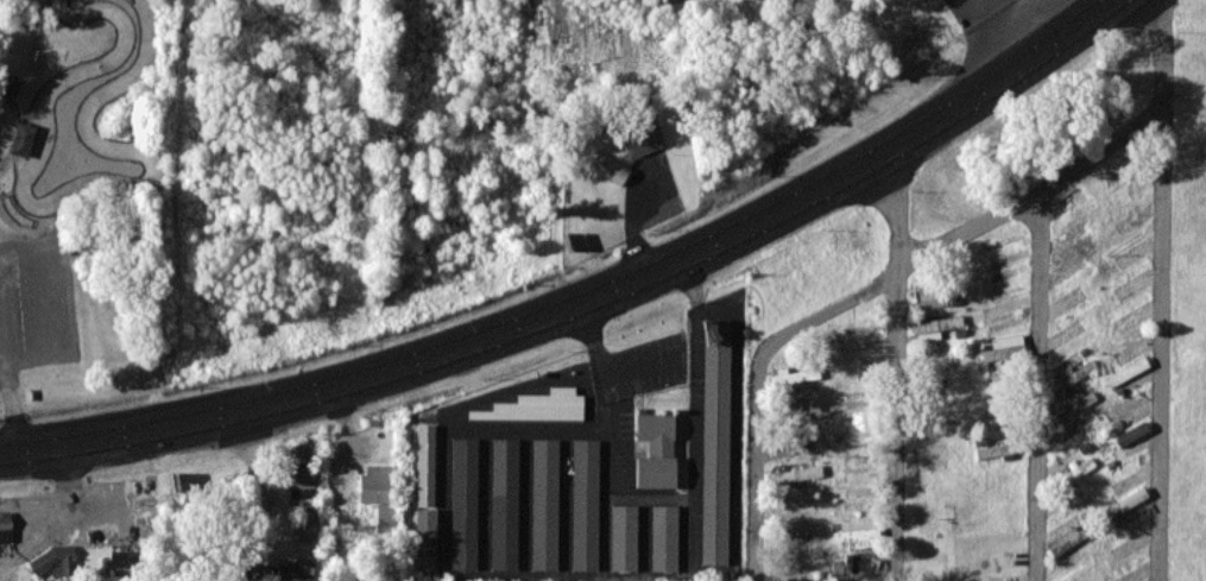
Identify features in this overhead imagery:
building: (11, 84)
building: (643, 138)
building: (608, 166)
road: (1033, 195)
road: (1160, 290)
road: (585, 298)
building: (935, 327)
building: (1002, 347)
road: (901, 364)
building: (1126, 371)
building: (795, 375)
building: (1074, 375)
road: (11, 380)
road: (754, 381)
road: (1036, 387)
road: (606, 394)
building: (538, 405)
building: (1074, 405)
building: (801, 412)
building: (1131, 432)
building: (716, 441)
building: (656, 449)
building: (995, 450)
building: (427, 465)
building: (1078, 469)
building: (796, 473)
building: (302, 480)
building: (380, 494)
building: (1126, 501)
building: (465, 503)
building: (505, 504)
building: (545, 504)
building: (586, 504)
building: (307, 523)
building: (6, 529)
building: (427, 531)
building: (625, 537)
building: (665, 537)
building: (1068, 538)
building: (53, 561)
building: (279, 570)

